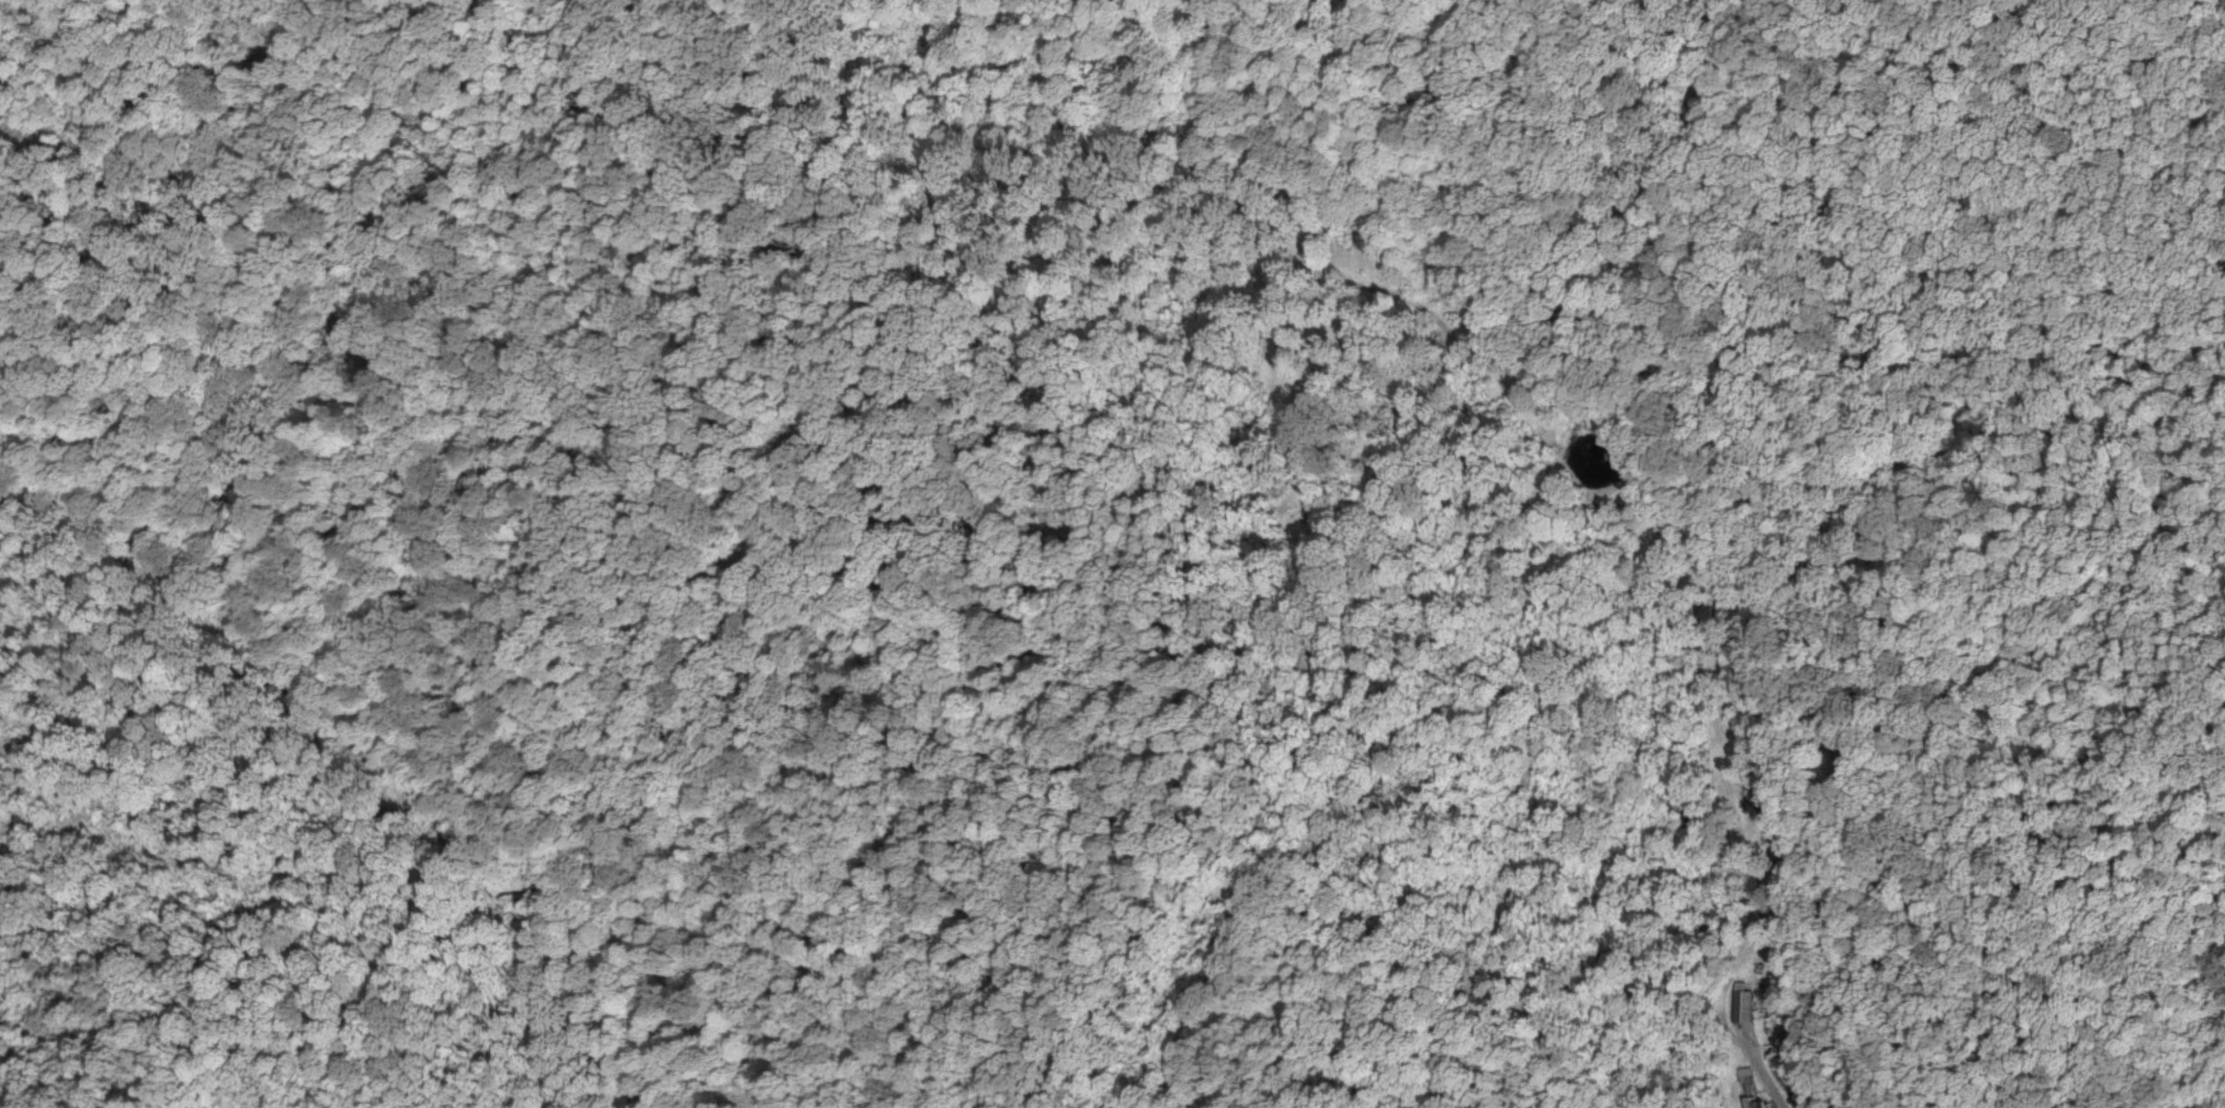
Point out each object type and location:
road: (36, 70)
building: (1741, 1003)
building: (1745, 1078)
road: (1774, 1099)
building: (1756, 1104)

